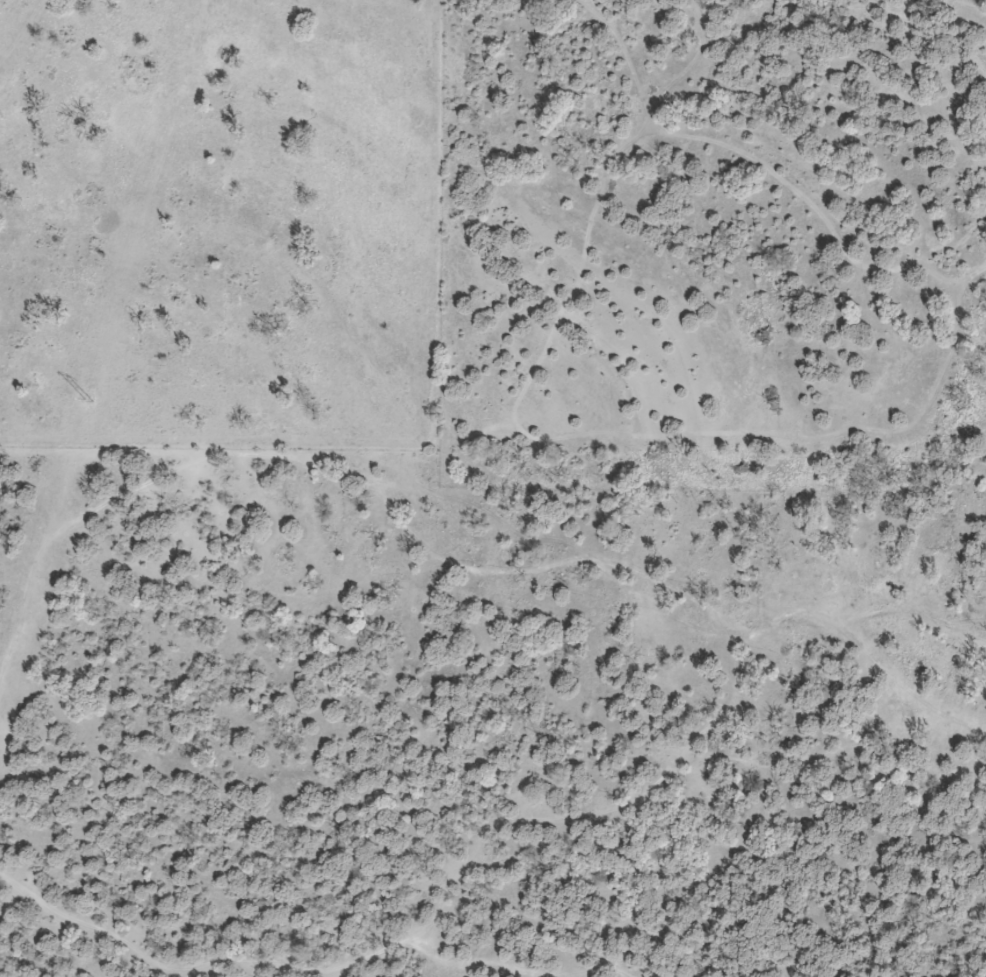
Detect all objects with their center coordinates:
power tower: (88, 399)

